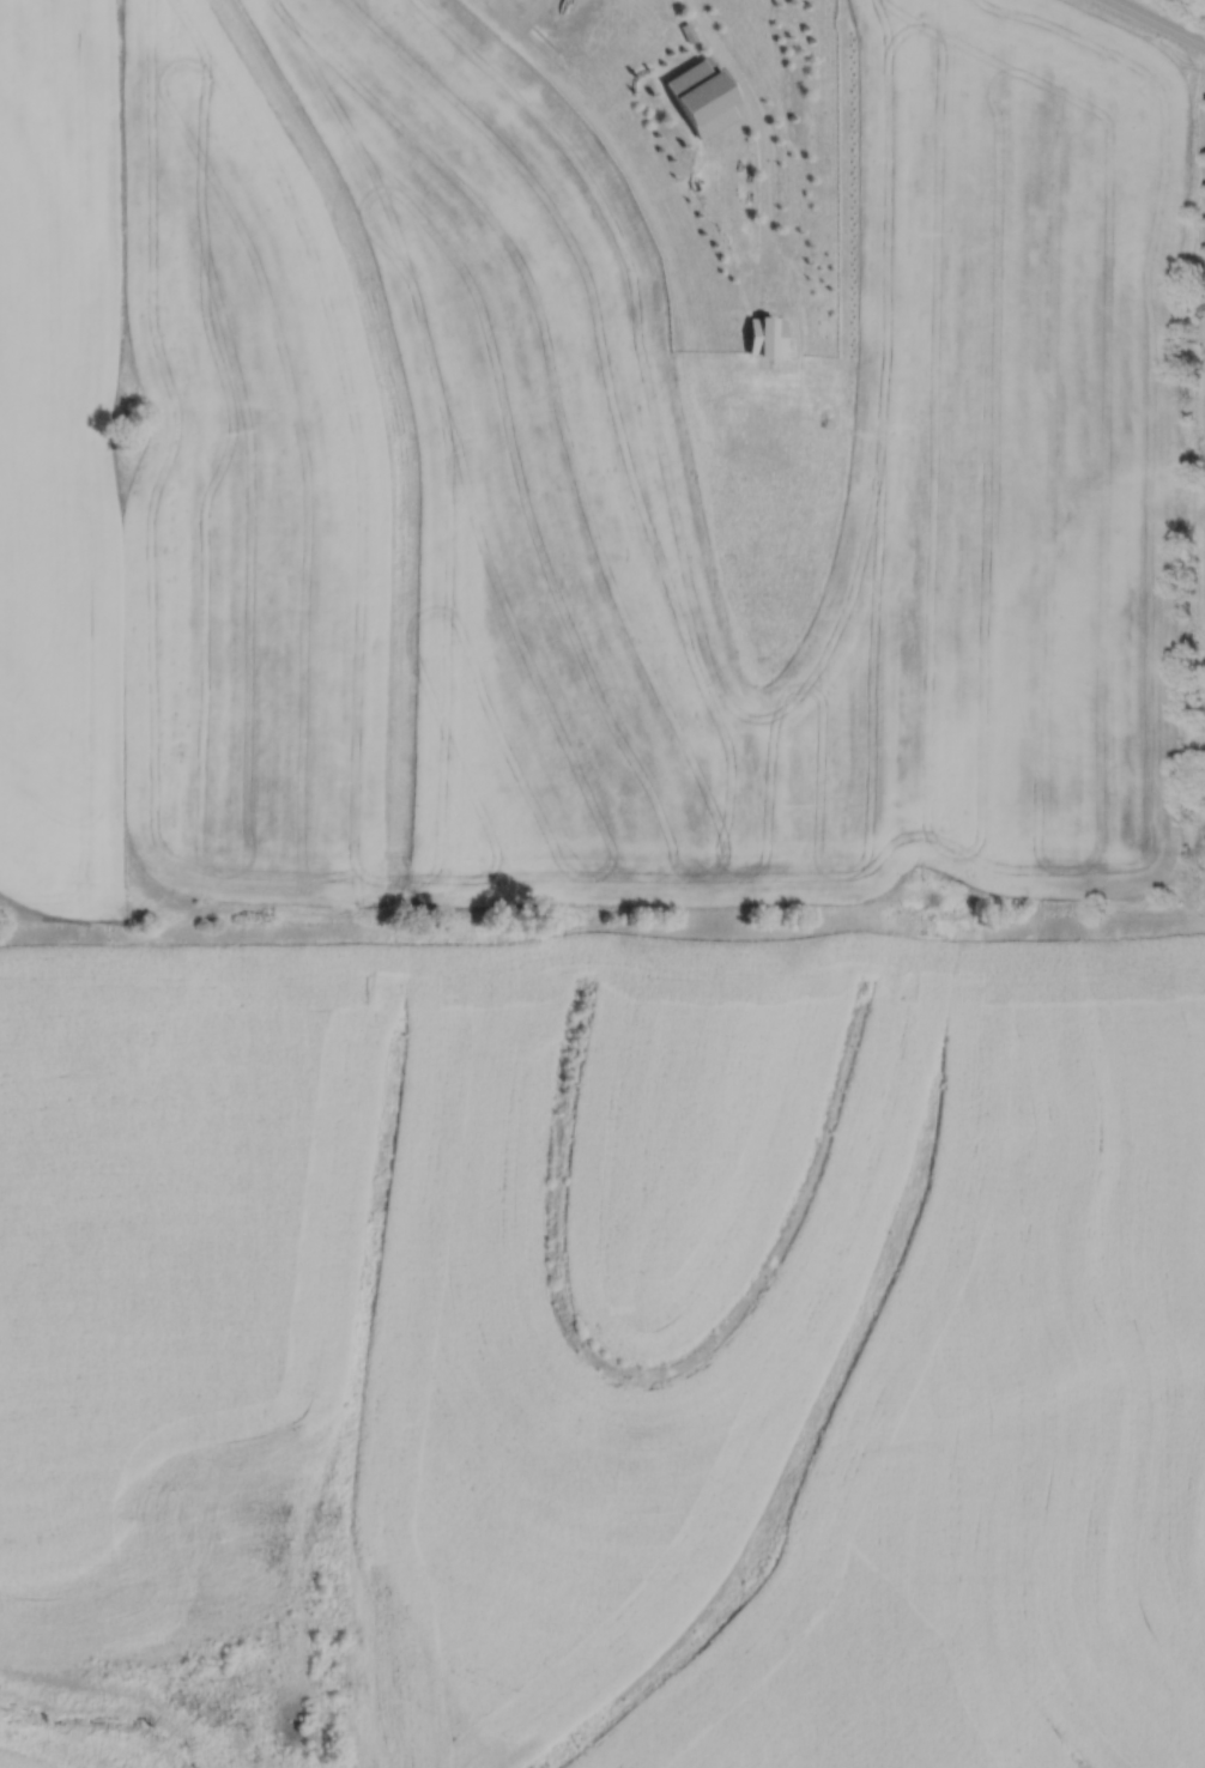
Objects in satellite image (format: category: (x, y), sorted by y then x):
road: (1156, 24)

